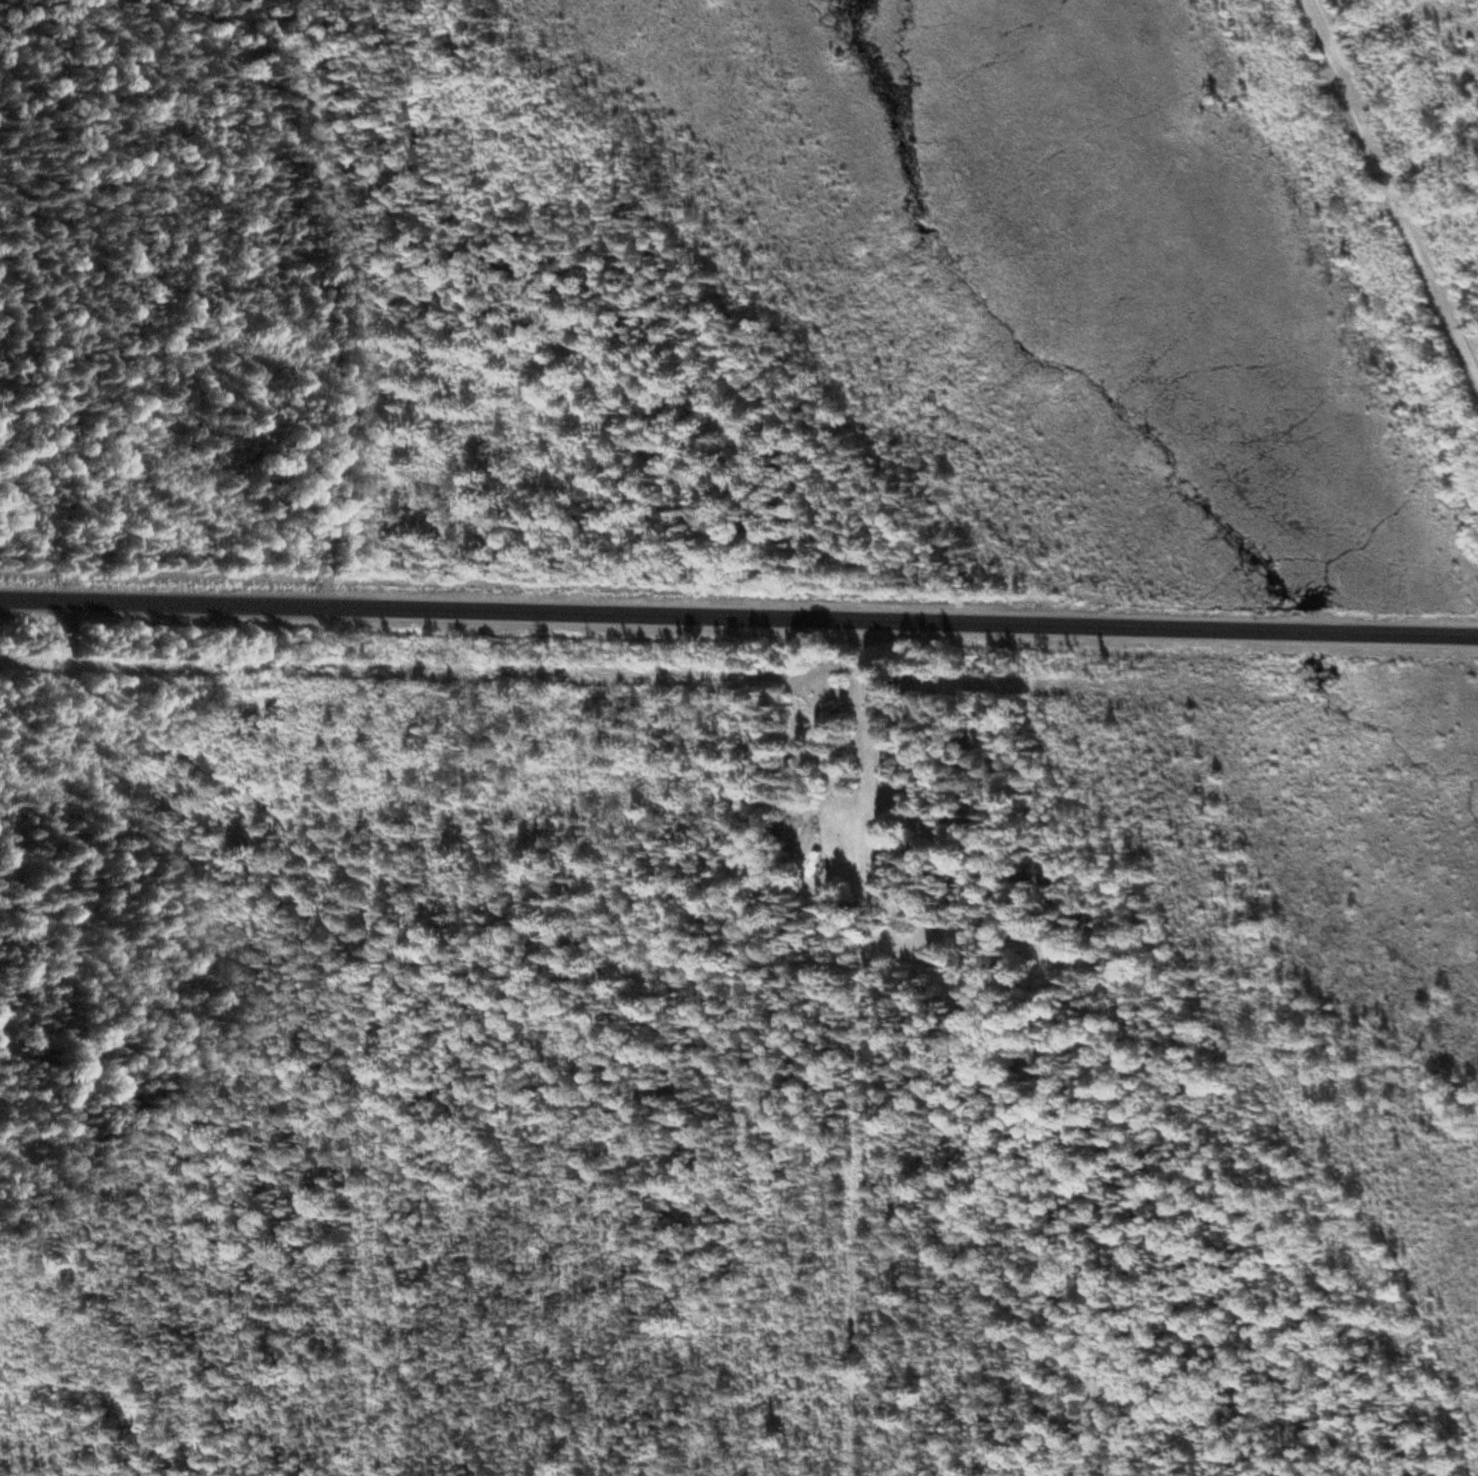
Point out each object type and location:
road: (1390, 185)
road: (322, 300)
road: (739, 618)

